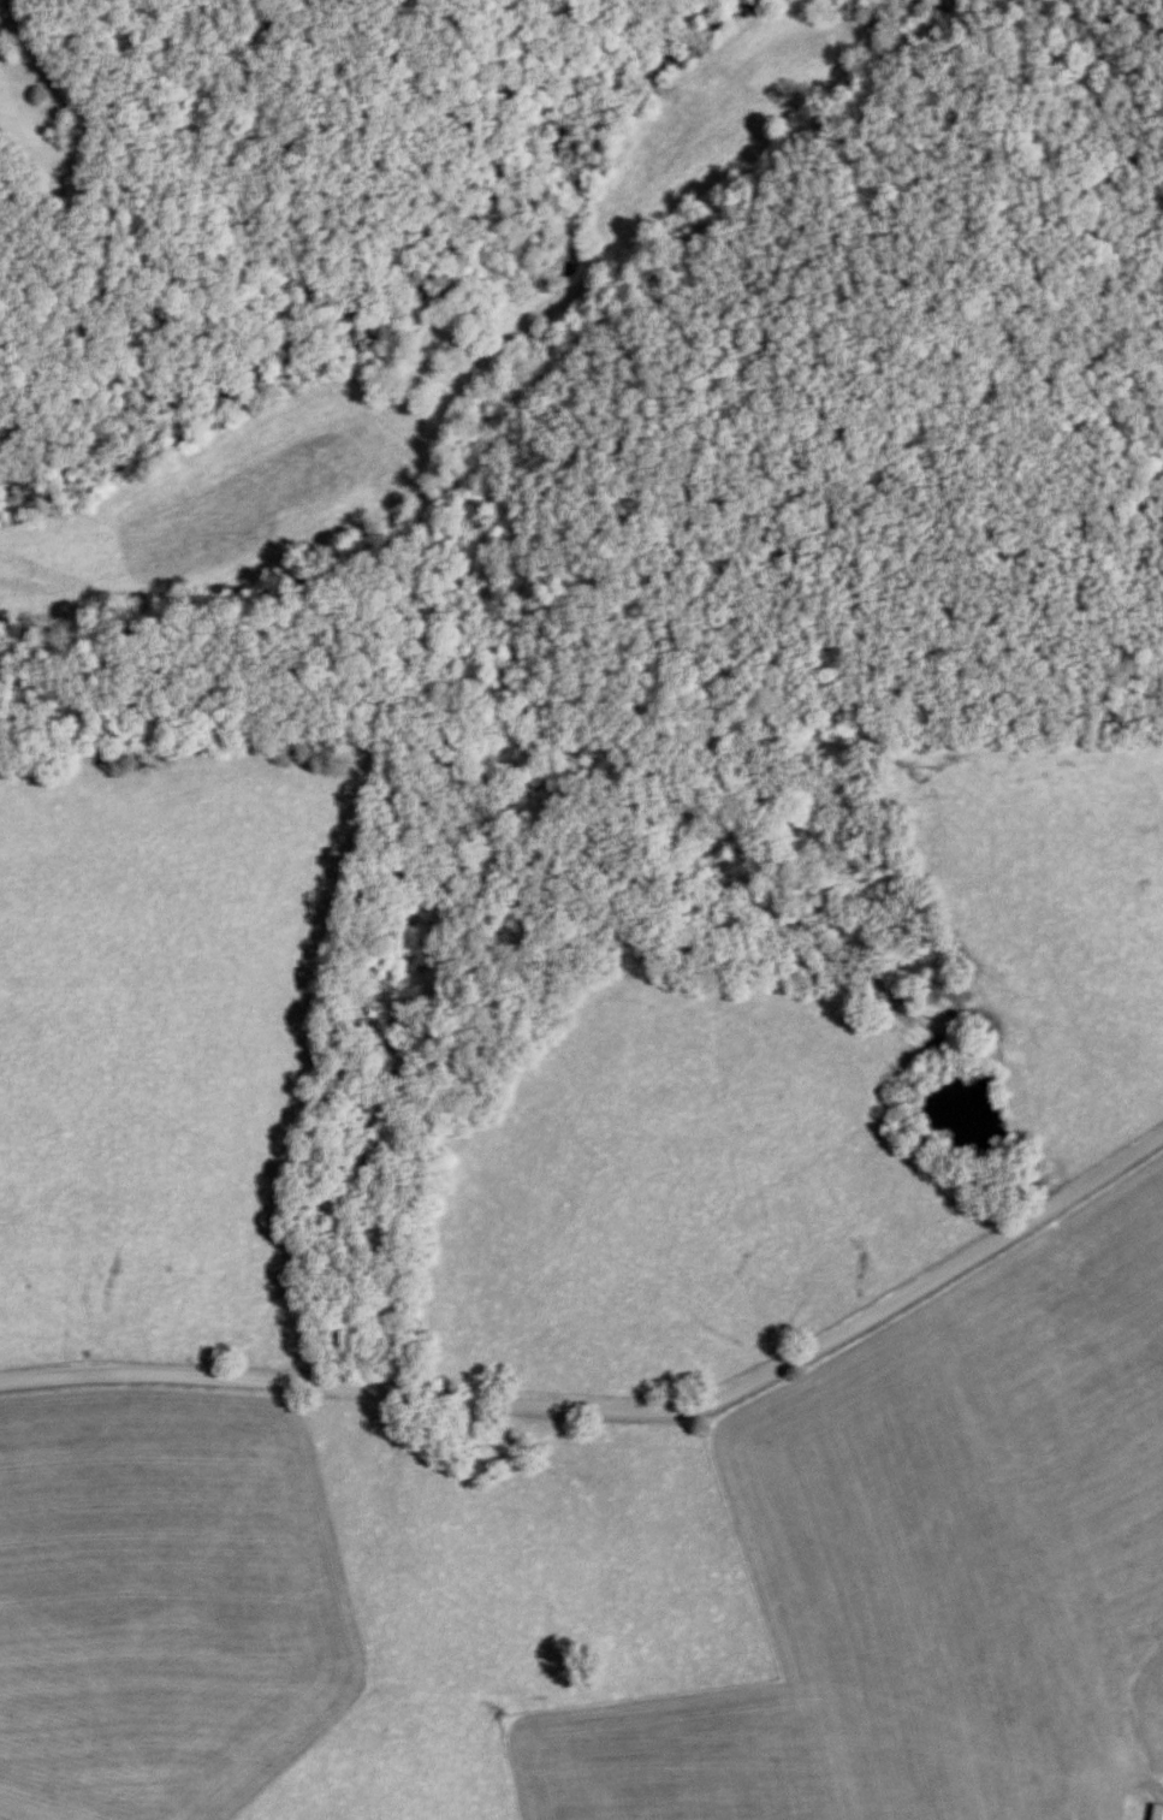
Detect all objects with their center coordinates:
road: (617, 1410)

